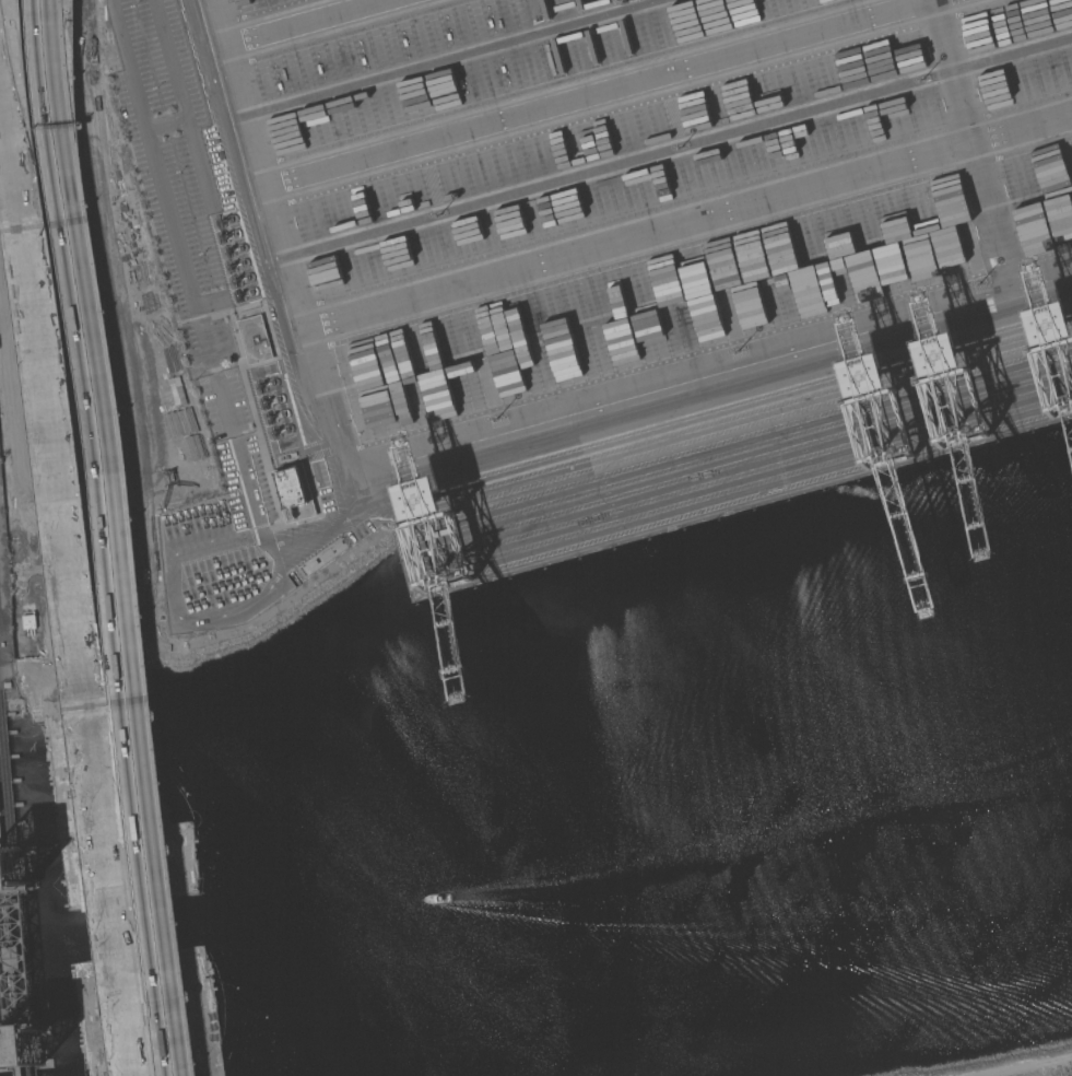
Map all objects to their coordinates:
road: (305, 21)
road: (184, 103)
road: (190, 289)
road: (301, 319)
building: (255, 339)
pier: (737, 471)
railway: (749, 481)
building: (291, 488)
road: (113, 537)
road: (69, 571)
road: (170, 598)
railway: (7, 807)
railway: (2, 864)
railway: (20, 957)
railway: (10, 958)
railway: (27, 1051)
railway: (17, 1052)

